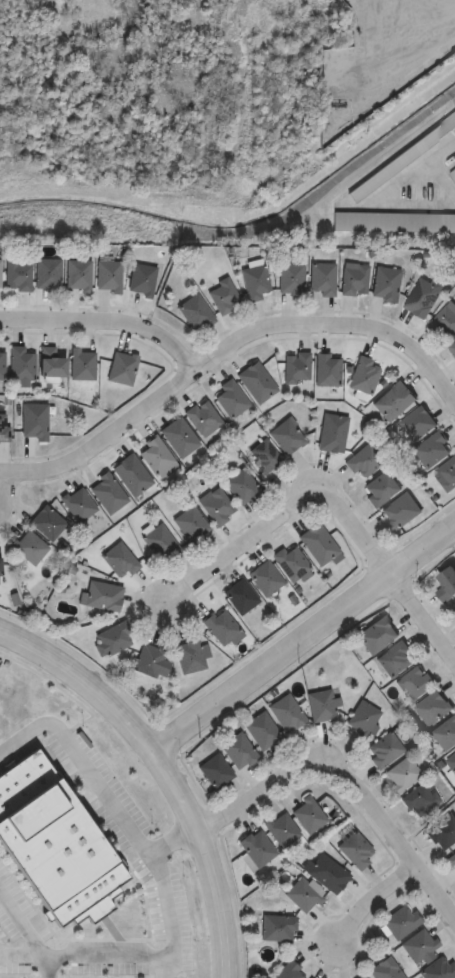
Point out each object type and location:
park: (126, 121)
building: (402, 158)
building: (453, 174)
building: (393, 222)
building: (17, 275)
building: (47, 275)
building: (78, 275)
building: (108, 276)
building: (0, 278)
building: (290, 279)
building: (322, 279)
building: (141, 280)
building: (354, 280)
building: (254, 283)
building: (385, 284)
building: (222, 296)
building: (421, 298)
building: (194, 314)
building: (444, 321)
road: (109, 328)
building: (453, 348)
building: (1, 363)
building: (20, 363)
building: (51, 363)
building: (82, 365)
road: (224, 365)
building: (296, 367)
building: (122, 368)
building: (327, 370)
building: (364, 376)
building: (256, 383)
building: (230, 399)
building: (394, 402)
building: (203, 419)
building: (34, 421)
building: (416, 423)
building: (4, 428)
building: (332, 433)
building: (287, 437)
building: (179, 438)
building: (432, 450)
building: (263, 457)
building: (158, 459)
building: (364, 461)
building: (446, 474)
building: (132, 475)
building: (243, 487)
building: (380, 489)
building: (107, 493)
building: (77, 504)
building: (216, 506)
building: (400, 511)
building: (47, 523)
building: (191, 525)
road: (282, 525)
building: (159, 542)
building: (319, 545)
building: (29, 547)
building: (119, 561)
building: (291, 562)
building: (0, 563)
building: (265, 579)
building: (446, 584)
building: (102, 595)
building: (240, 596)
building: (454, 612)
road: (421, 621)
building: (222, 627)
building: (376, 635)
road: (303, 638)
building: (112, 639)
building: (190, 655)
building: (395, 659)
building: (151, 661)
building: (414, 682)
building: (320, 705)
building: (432, 708)
building: (286, 713)
building: (363, 720)
building: (261, 731)
building: (445, 733)
building: (384, 750)
building: (238, 752)
building: (451, 762)
road: (79, 764)
road: (164, 770)
building: (214, 772)
building: (402, 774)
road: (349, 778)
building: (420, 799)
building: (307, 815)
building: (281, 829)
building: (442, 832)
road: (169, 842)
building: (53, 846)
building: (256, 849)
building: (355, 850)
building: (452, 860)
building: (327, 874)
building: (302, 896)
road: (376, 908)
building: (400, 922)
building: (277, 928)
building: (419, 947)
road: (118, 958)
road: (46, 968)
road: (162, 968)
building: (438, 969)
building: (384, 970)
building: (289, 971)
building: (361, 977)

